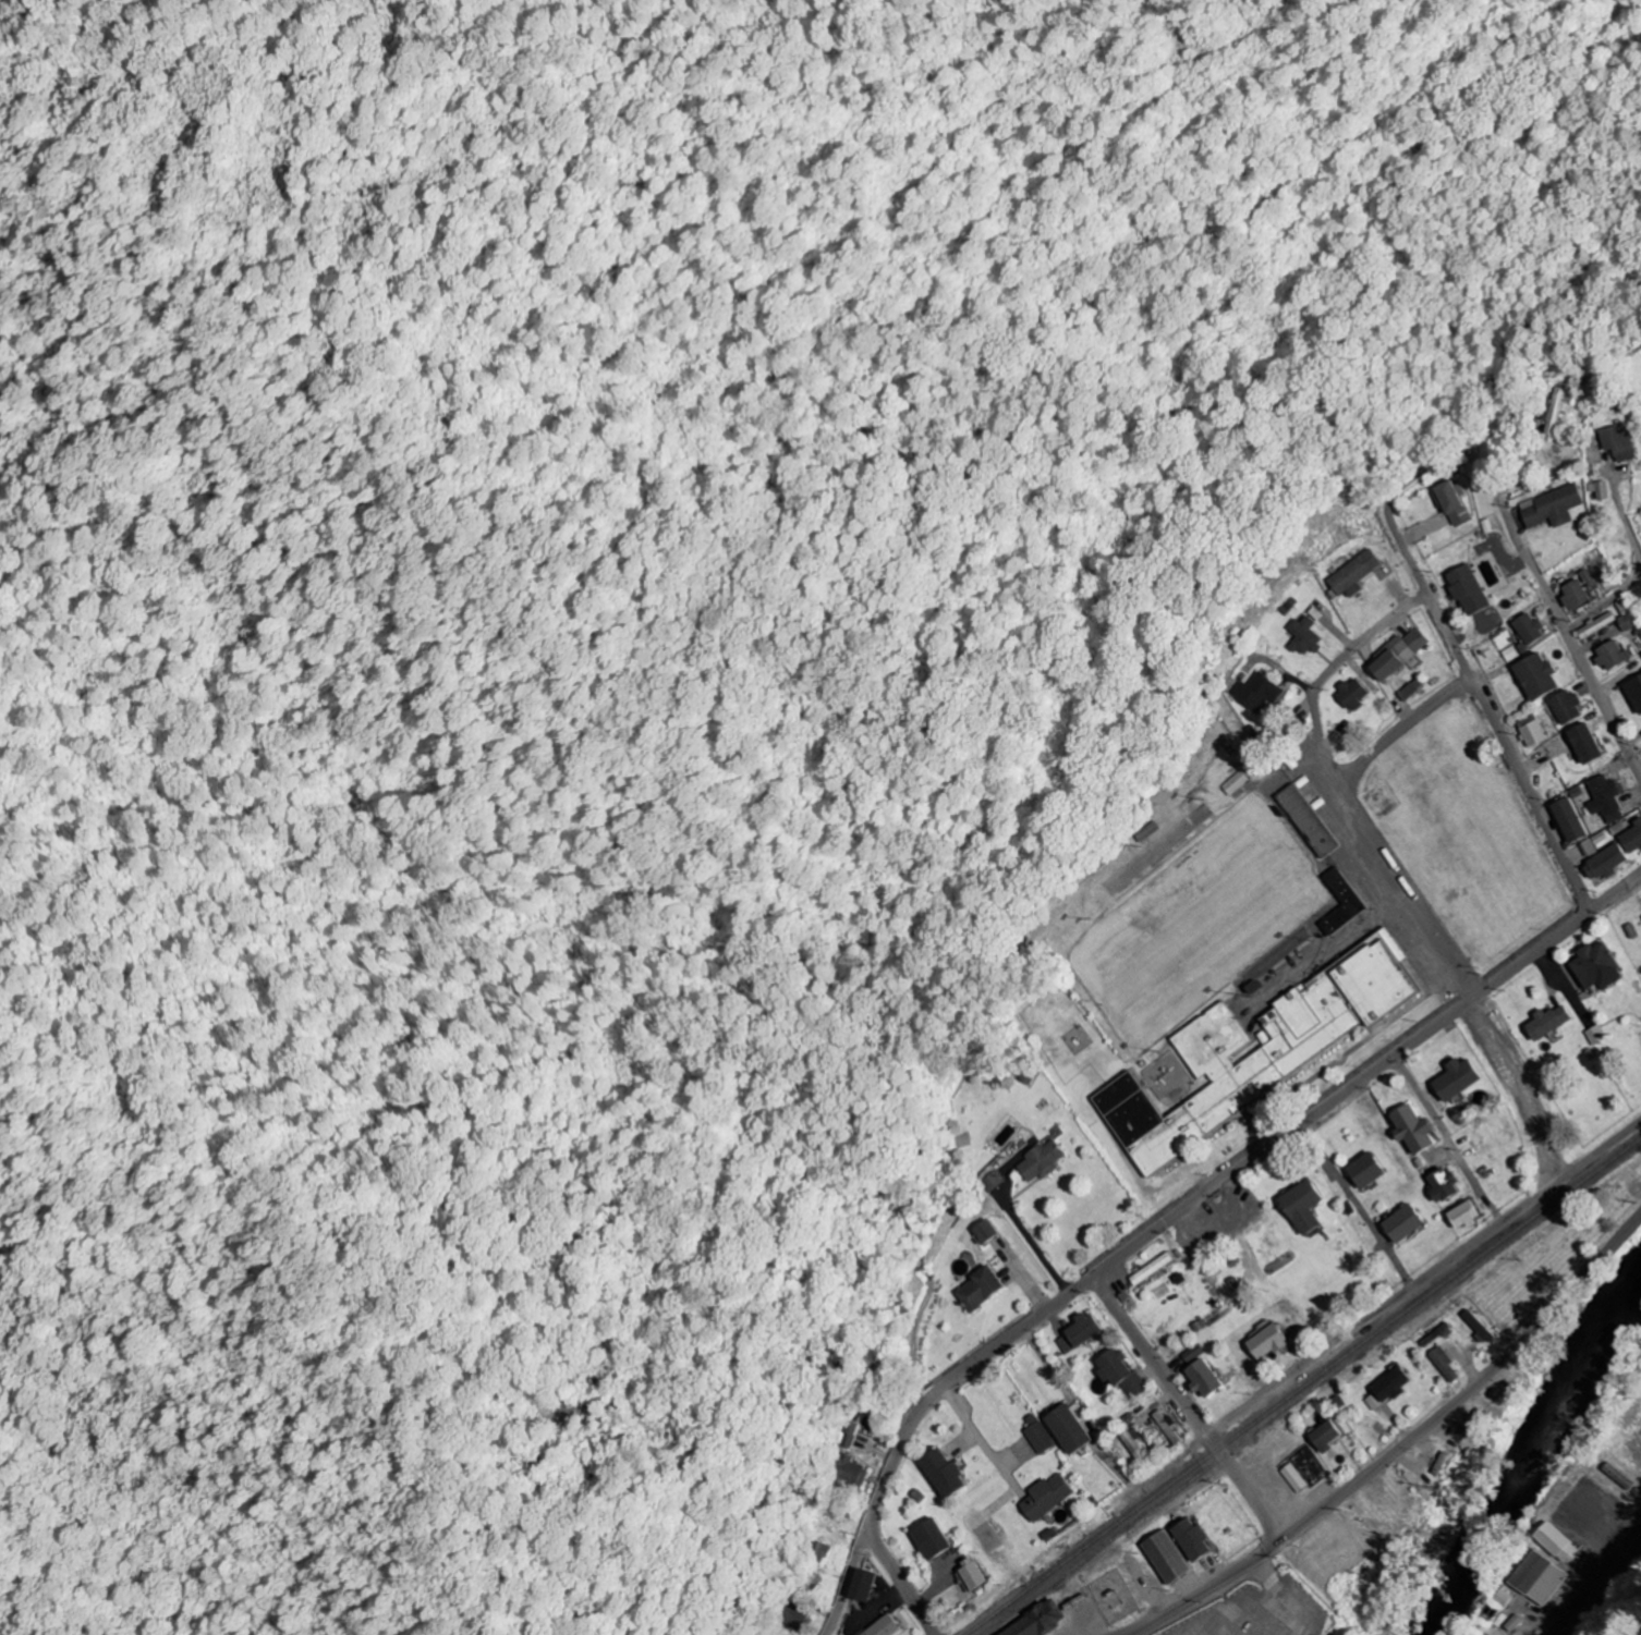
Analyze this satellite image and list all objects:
building: (1553, 411)
building: (1617, 442)
building: (1596, 489)
building: (1449, 501)
building: (1548, 507)
road: (1560, 544)
road: (1502, 571)
building: (1350, 573)
building: (1584, 577)
building: (1464, 588)
building: (1571, 593)
road: (1575, 596)
road: (1615, 597)
building: (1626, 621)
building: (1594, 625)
building: (1525, 627)
building: (1300, 636)
road: (1572, 645)
building: (1394, 654)
building: (1508, 654)
building: (1609, 655)
road: (1322, 674)
building: (1534, 675)
building: (1255, 692)
building: (1405, 692)
building: (1634, 692)
building: (1349, 693)
building: (1564, 706)
road: (1490, 717)
building: (1529, 730)
building: (1583, 743)
building: (1225, 746)
building: (1231, 782)
building: (1604, 798)
building: (1568, 819)
building: (1304, 820)
road: (1352, 822)
building: (1617, 828)
building: (1146, 831)
building: (1632, 838)
building: (1589, 847)
building: (1604, 863)
building: (1339, 902)
building: (1597, 966)
building: (1251, 986)
building: (1548, 1021)
building: (1596, 1035)
building: (1255, 1050)
building: (1028, 1075)
building: (1457, 1078)
road: (1520, 1087)
building: (1412, 1128)
road: (1447, 1139)
building: (1038, 1160)
building: (1365, 1170)
building: (990, 1181)
building: (1443, 1184)
road: (1358, 1205)
building: (1301, 1206)
road: (1177, 1211)
building: (1464, 1215)
road: (1010, 1217)
building: (1403, 1223)
building: (981, 1231)
building: (1148, 1269)
road: (1016, 1274)
road: (1424, 1279)
building: (974, 1289)
building: (1480, 1326)
building: (1077, 1332)
building: (1267, 1342)
building: (1192, 1354)
building: (1446, 1364)
building: (1119, 1374)
building: (1202, 1378)
railway: (1302, 1388)
building: (1389, 1388)
road: (1187, 1407)
building: (1125, 1419)
building: (1067, 1427)
building: (1166, 1428)
building: (846, 1435)
building: (1035, 1435)
building: (1327, 1436)
road: (978, 1443)
building: (1132, 1443)
road: (1399, 1448)
river: (1528, 1462)
building: (844, 1472)
building: (939, 1473)
building: (1296, 1478)
building: (913, 1496)
building: (1044, 1497)
building: (1046, 1534)
building: (926, 1539)
building: (1192, 1539)
building: (1555, 1542)
building: (817, 1552)
building: (1167, 1558)
building: (970, 1574)
building: (1536, 1578)
road: (898, 1582)
road: (1601, 1584)
building: (858, 1585)
building: (789, 1615)
building: (1037, 1620)
building: (879, 1627)

